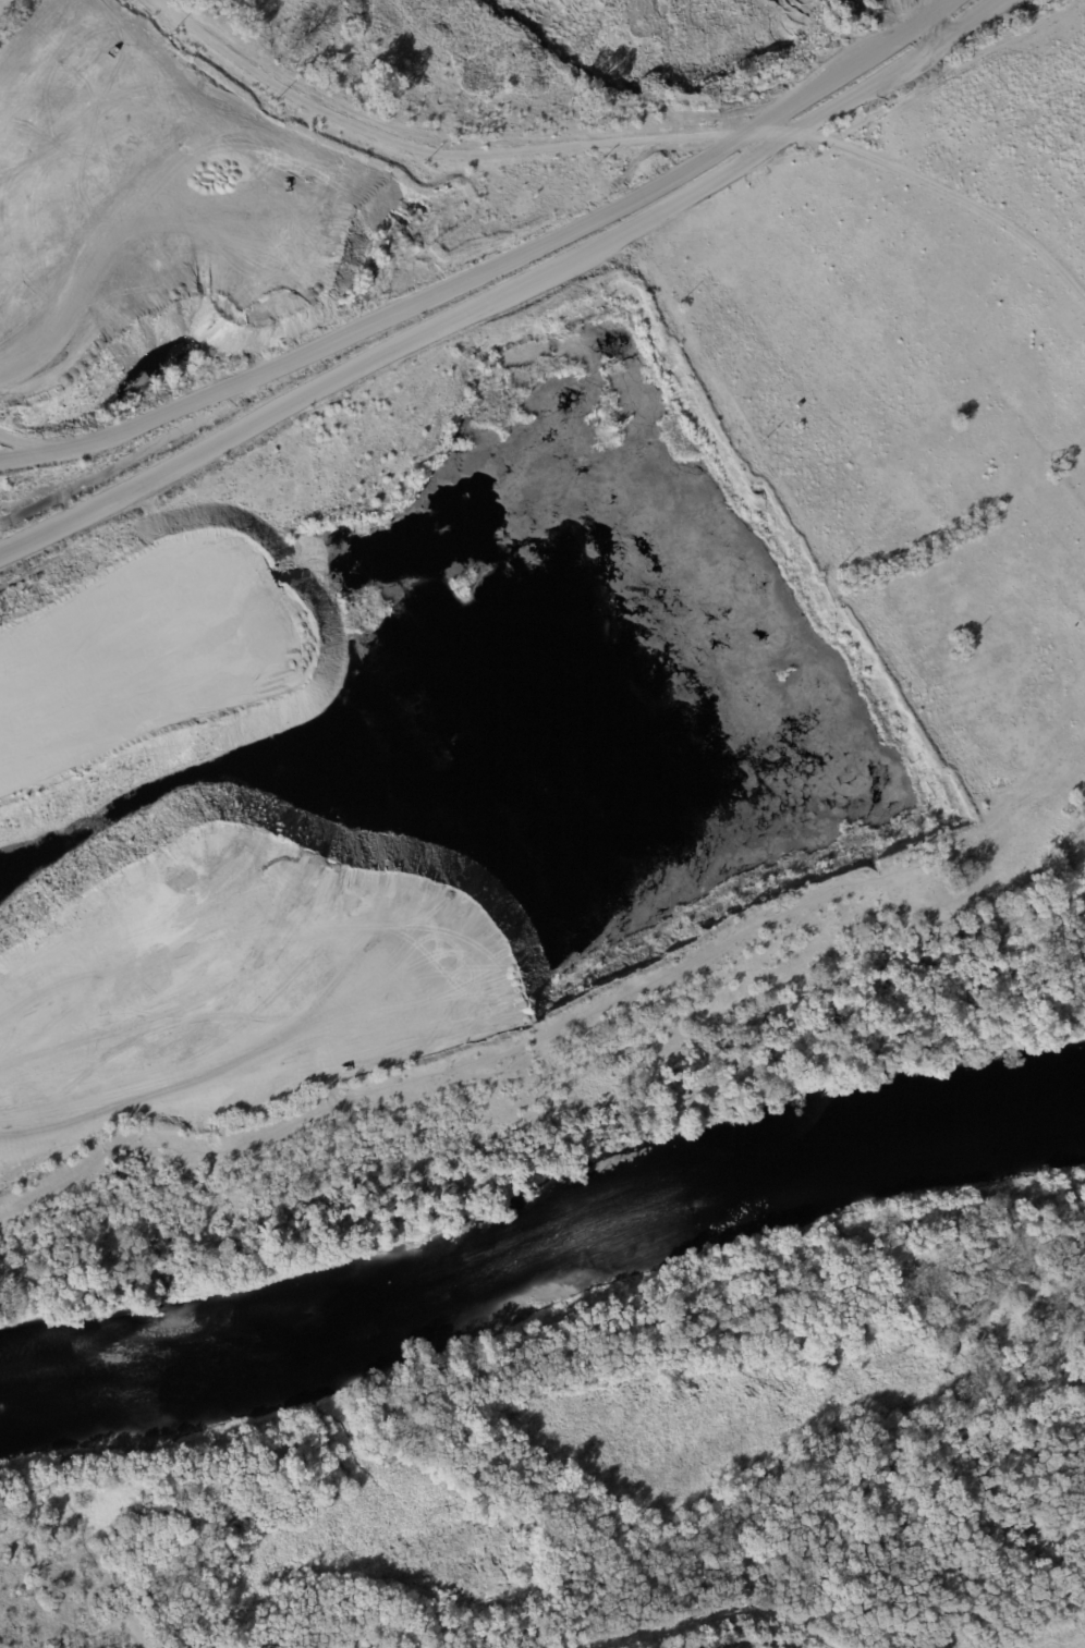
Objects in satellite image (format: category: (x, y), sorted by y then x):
road: (941, 21)
road: (27, 27)
road: (369, 137)
road: (679, 138)
road: (941, 197)
road: (481, 270)
river: (540, 1224)
road: (857, 1430)
road: (553, 1494)
road: (94, 1567)
crop: (1065, 1632)
road: (756, 1646)

